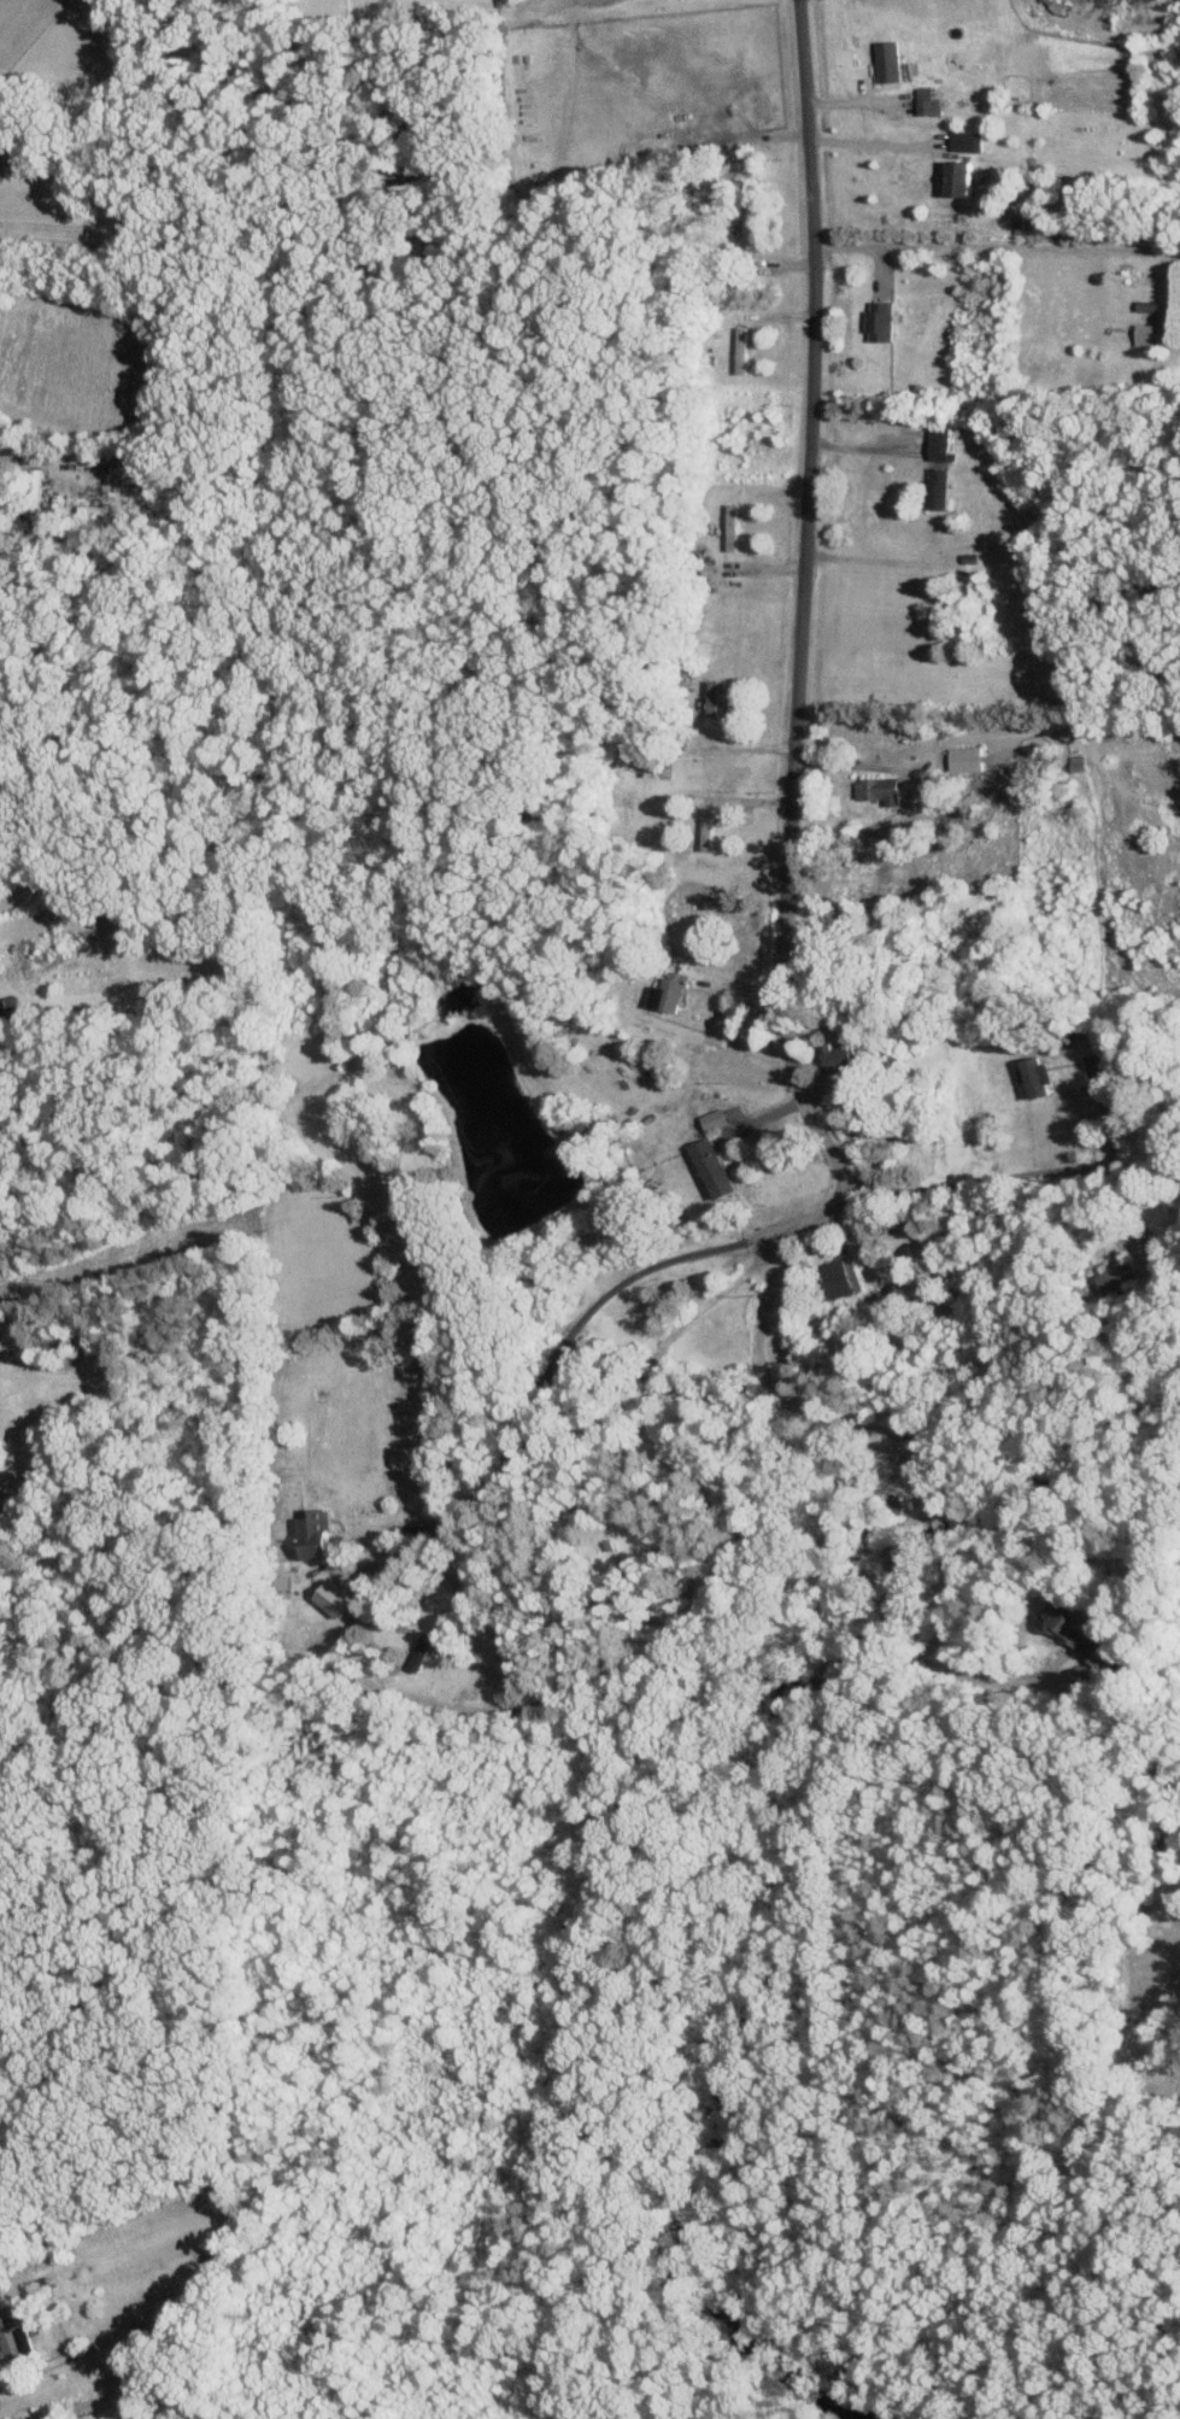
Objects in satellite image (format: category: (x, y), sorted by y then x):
building: (892, 61)
building: (929, 101)
building: (969, 141)
road: (870, 142)
building: (967, 178)
road: (996, 246)
building: (883, 321)
building: (1151, 335)
building: (742, 350)
building: (941, 444)
road: (800, 598)
building: (969, 758)
road: (850, 765)
building: (881, 789)
building: (670, 990)
building: (840, 1053)
building: (1039, 1076)
road: (1106, 1114)
building: (716, 1118)
building: (716, 1167)
road: (1025, 1177)
road: (820, 1211)
building: (838, 1278)
road: (569, 1334)
road: (668, 1345)
road: (893, 1433)
building: (319, 1537)
building: (337, 1599)
building: (1070, 1626)
building: (1091, 1656)
building: (14, 2335)
building: (43, 2417)

